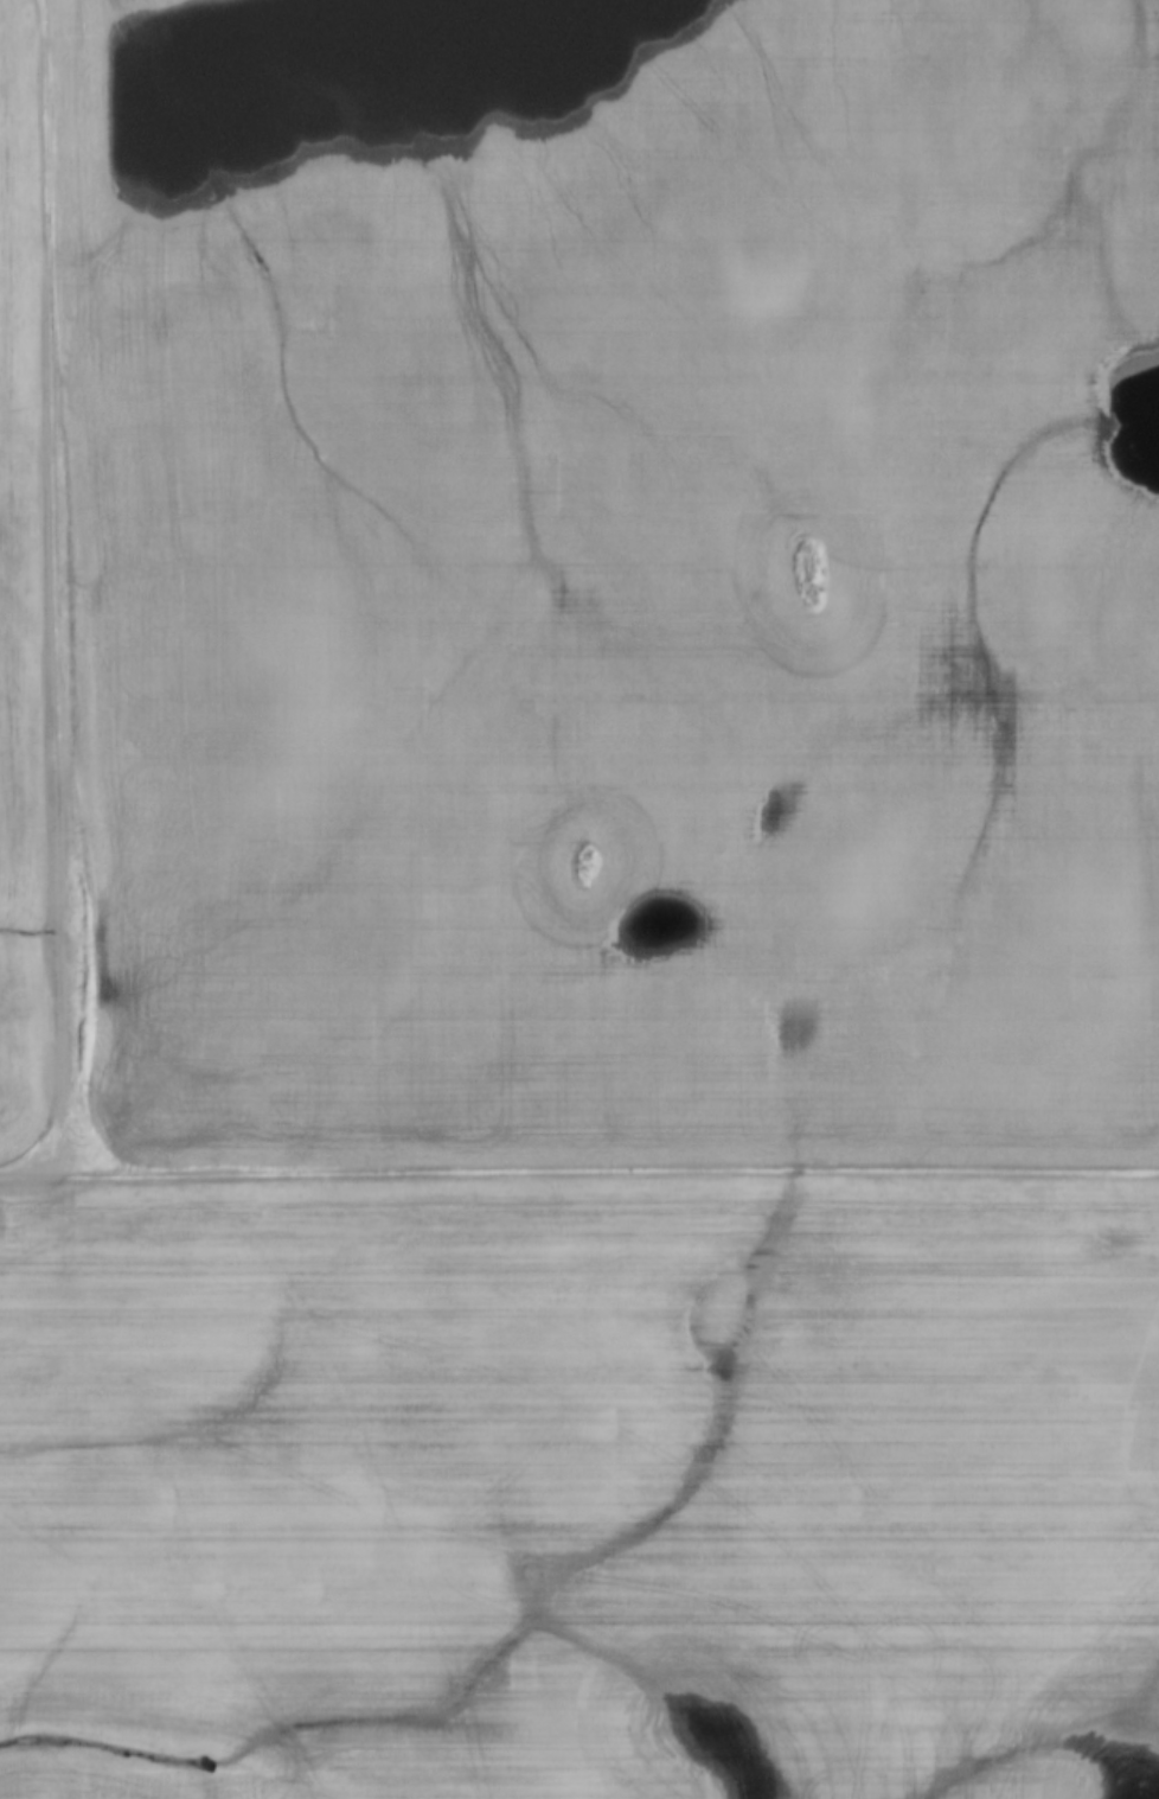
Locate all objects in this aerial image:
road: (578, 1173)

